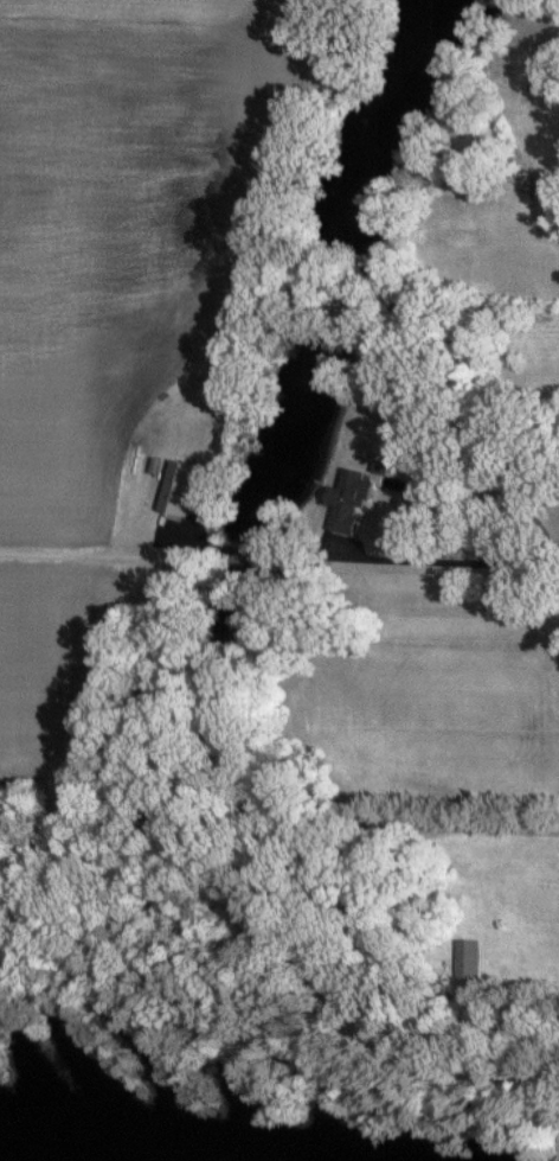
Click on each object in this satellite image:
building: (378, 465)
building: (175, 486)
building: (343, 498)
road: (360, 557)

